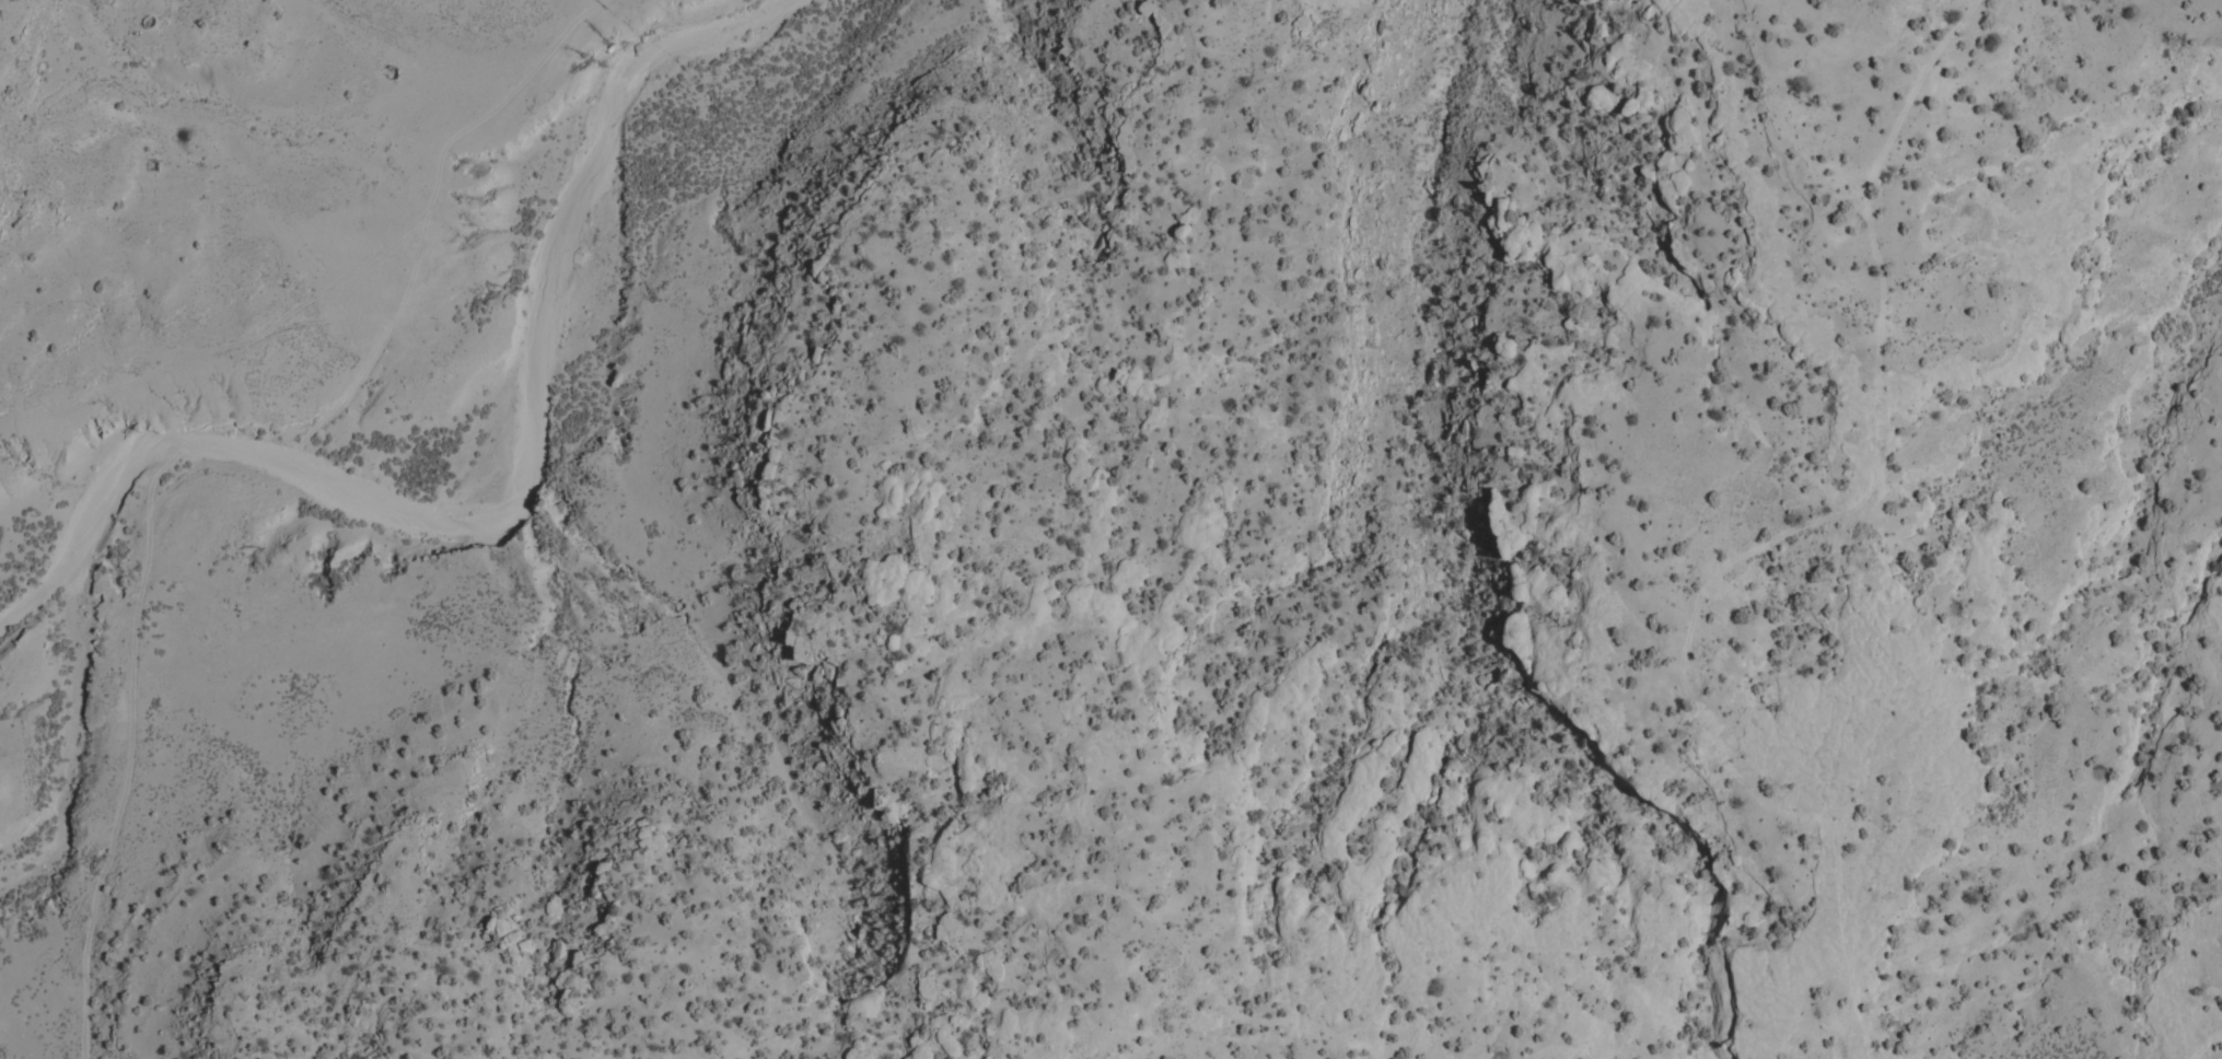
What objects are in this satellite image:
road: (2, 1)
road: (468, 12)
road: (161, 455)

